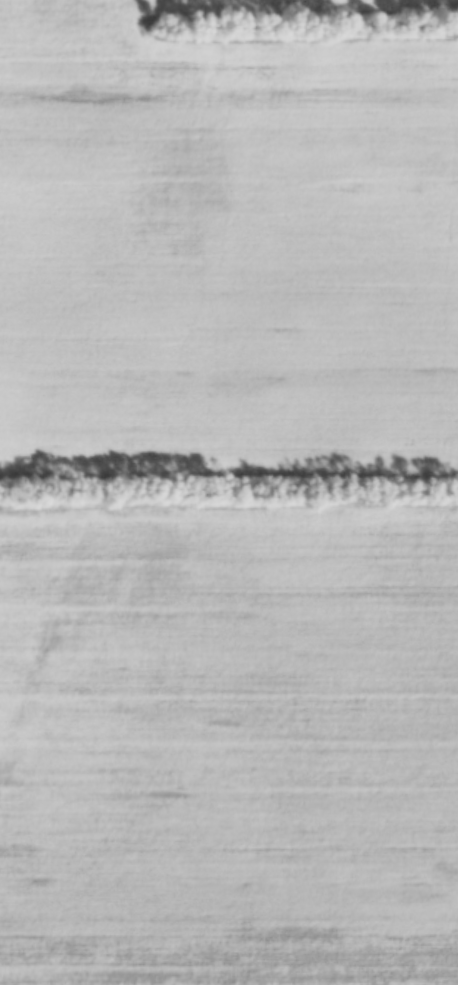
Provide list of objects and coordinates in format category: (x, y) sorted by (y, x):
road: (229, 977)

